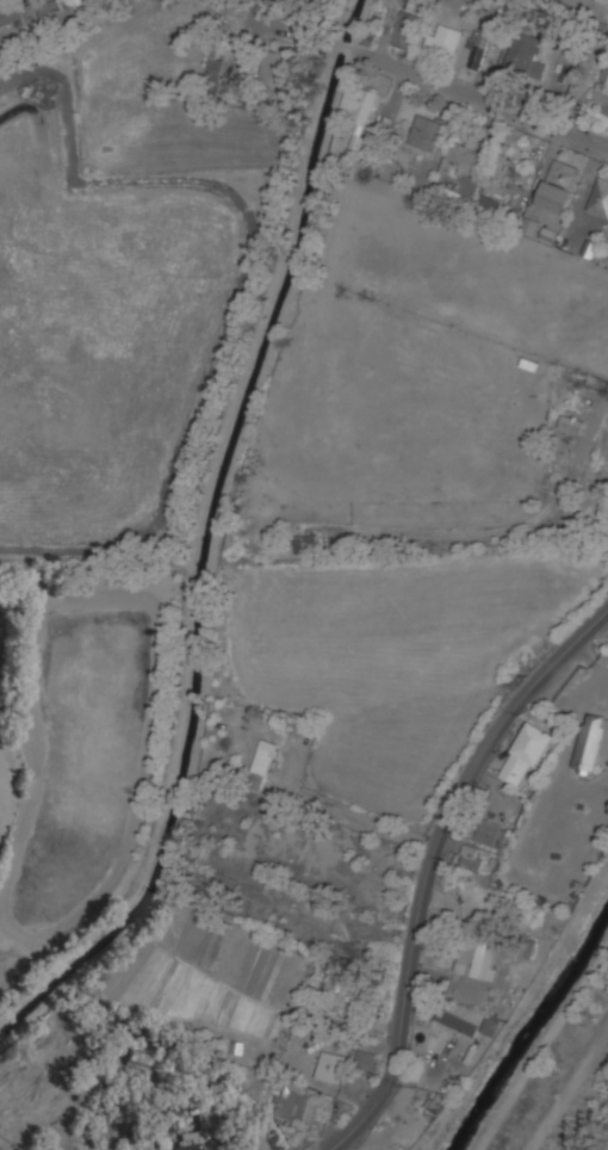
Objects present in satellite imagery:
building: (45, 7)
building: (8, 12)
building: (405, 29)
building: (442, 42)
building: (477, 49)
building: (525, 56)
building: (213, 67)
building: (275, 67)
building: (602, 92)
road: (486, 97)
building: (359, 103)
building: (426, 132)
building: (362, 147)
building: (463, 156)
building: (509, 165)
building: (559, 185)
building: (598, 198)
building: (489, 203)
building: (531, 228)
building: (548, 234)
building: (571, 423)
building: (306, 543)
building: (591, 743)
building: (527, 752)
building: (262, 763)
building: (489, 833)
building: (472, 858)
road: (434, 861)
building: (474, 960)
building: (459, 1016)
building: (492, 1026)
building: (138, 1059)
building: (366, 1061)
building: (331, 1068)
building: (298, 1101)
building: (188, 1140)
building: (137, 1144)
building: (252, 1144)

